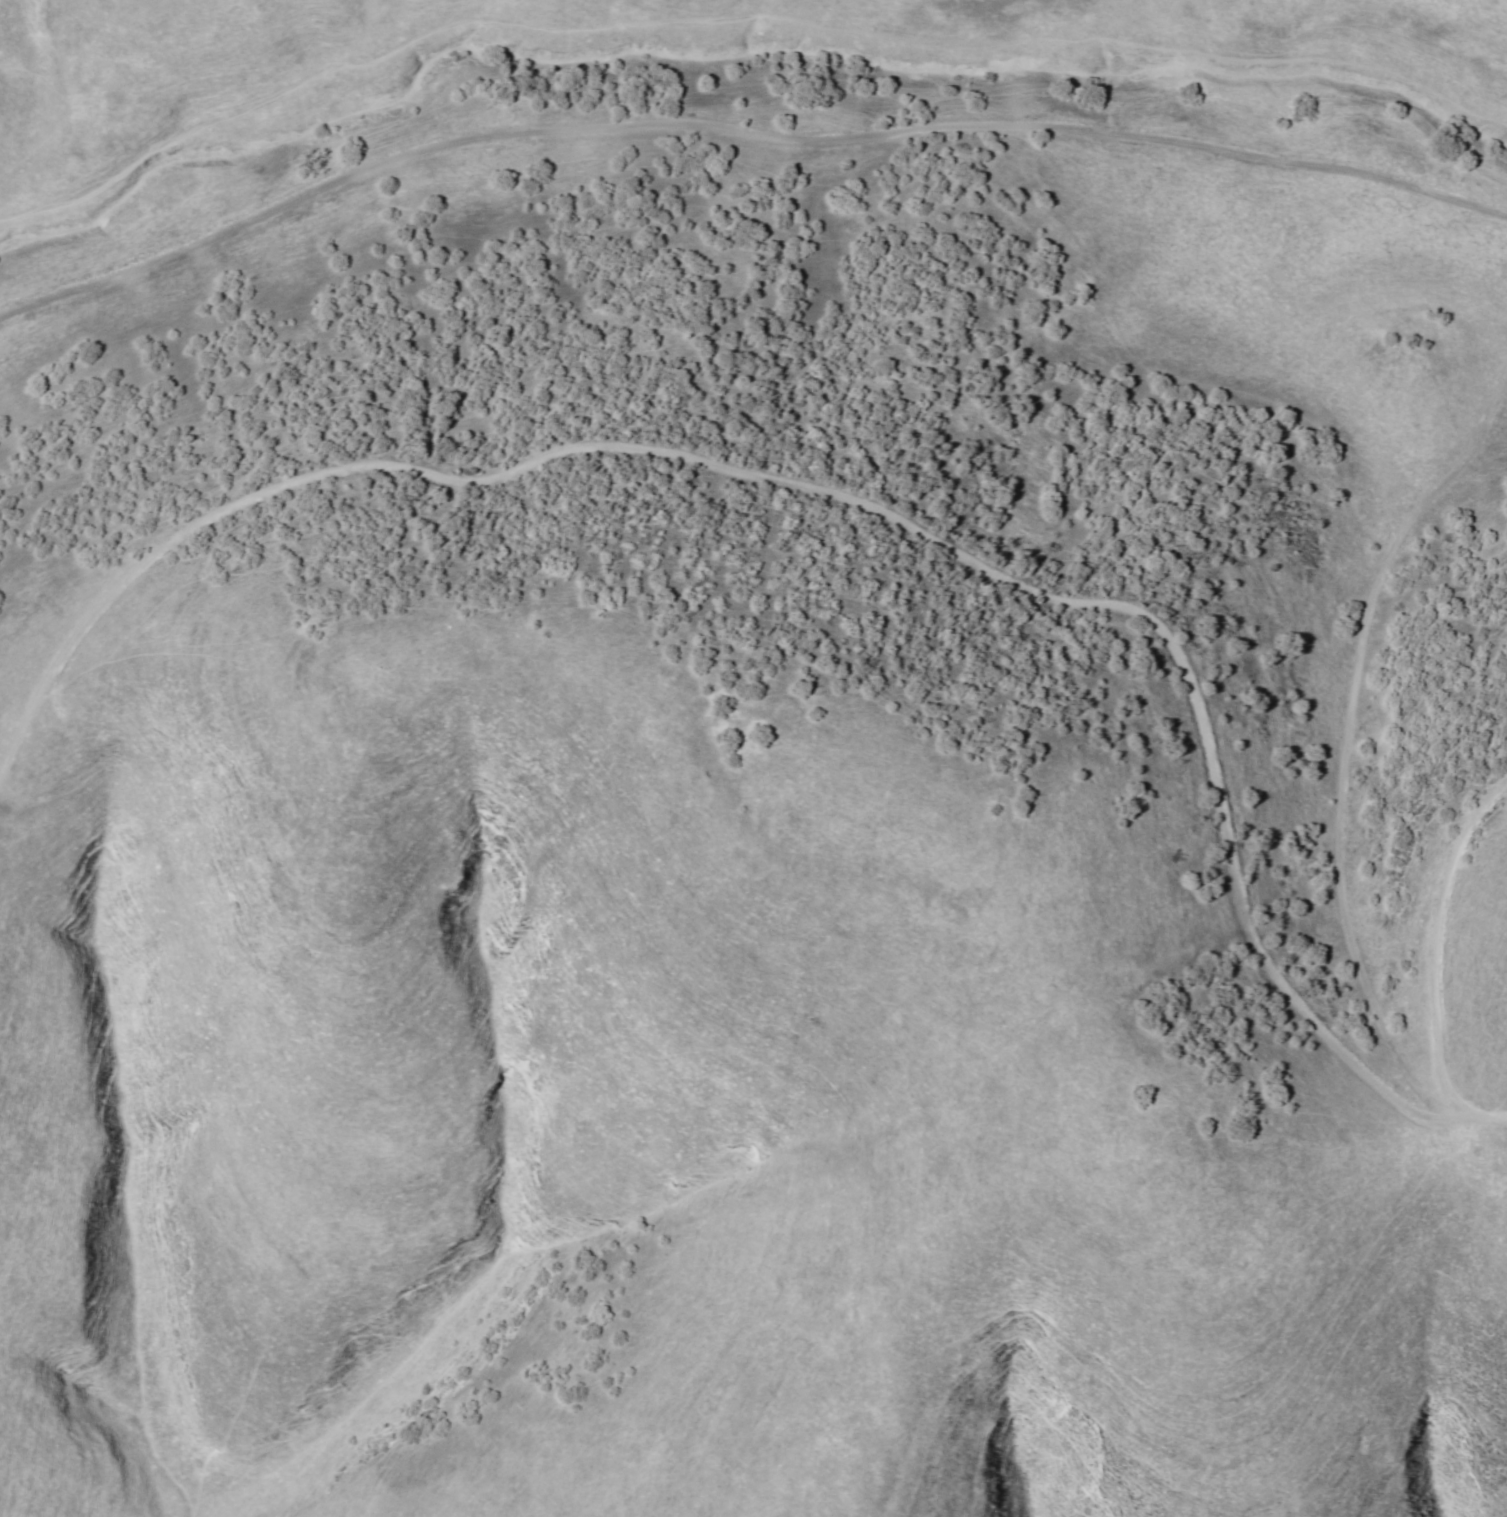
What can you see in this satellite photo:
road: (17, 113)
road: (743, 156)
road: (855, 530)
road: (1476, 935)

